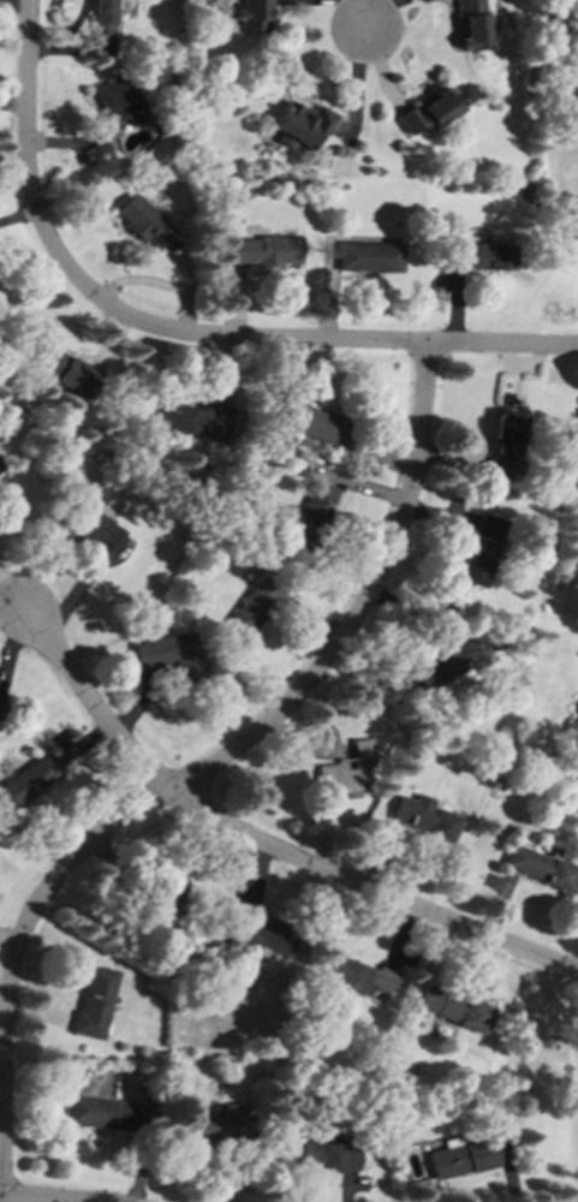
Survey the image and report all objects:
road: (363, 11)
building: (248, 14)
building: (101, 16)
building: (470, 25)
building: (103, 44)
building: (117, 107)
building: (427, 111)
building: (300, 124)
road: (26, 156)
building: (142, 220)
building: (264, 249)
building: (369, 256)
building: (481, 256)
road: (329, 339)
building: (65, 371)
building: (195, 418)
building: (312, 422)
building: (505, 446)
building: (0, 471)
building: (310, 517)
building: (90, 519)
building: (478, 549)
building: (254, 606)
building: (171, 653)
building: (440, 664)
building: (1, 702)
road: (209, 770)
building: (26, 783)
building: (573, 807)
road: (260, 844)
building: (538, 868)
building: (261, 935)
building: (357, 977)
building: (94, 1001)
building: (452, 1007)
building: (99, 1112)
building: (215, 1125)
building: (324, 1153)
building: (459, 1156)
road: (44, 1198)

